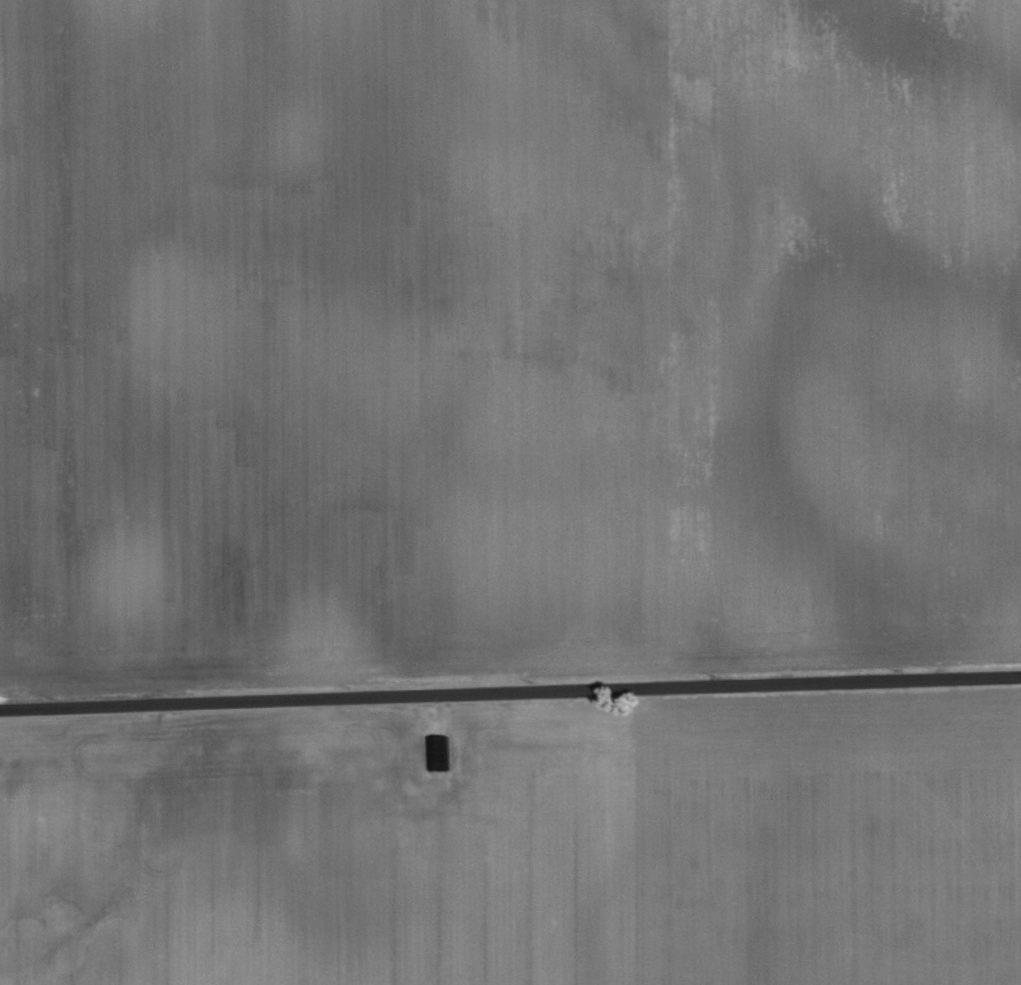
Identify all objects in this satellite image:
road: (510, 690)
building: (442, 753)

